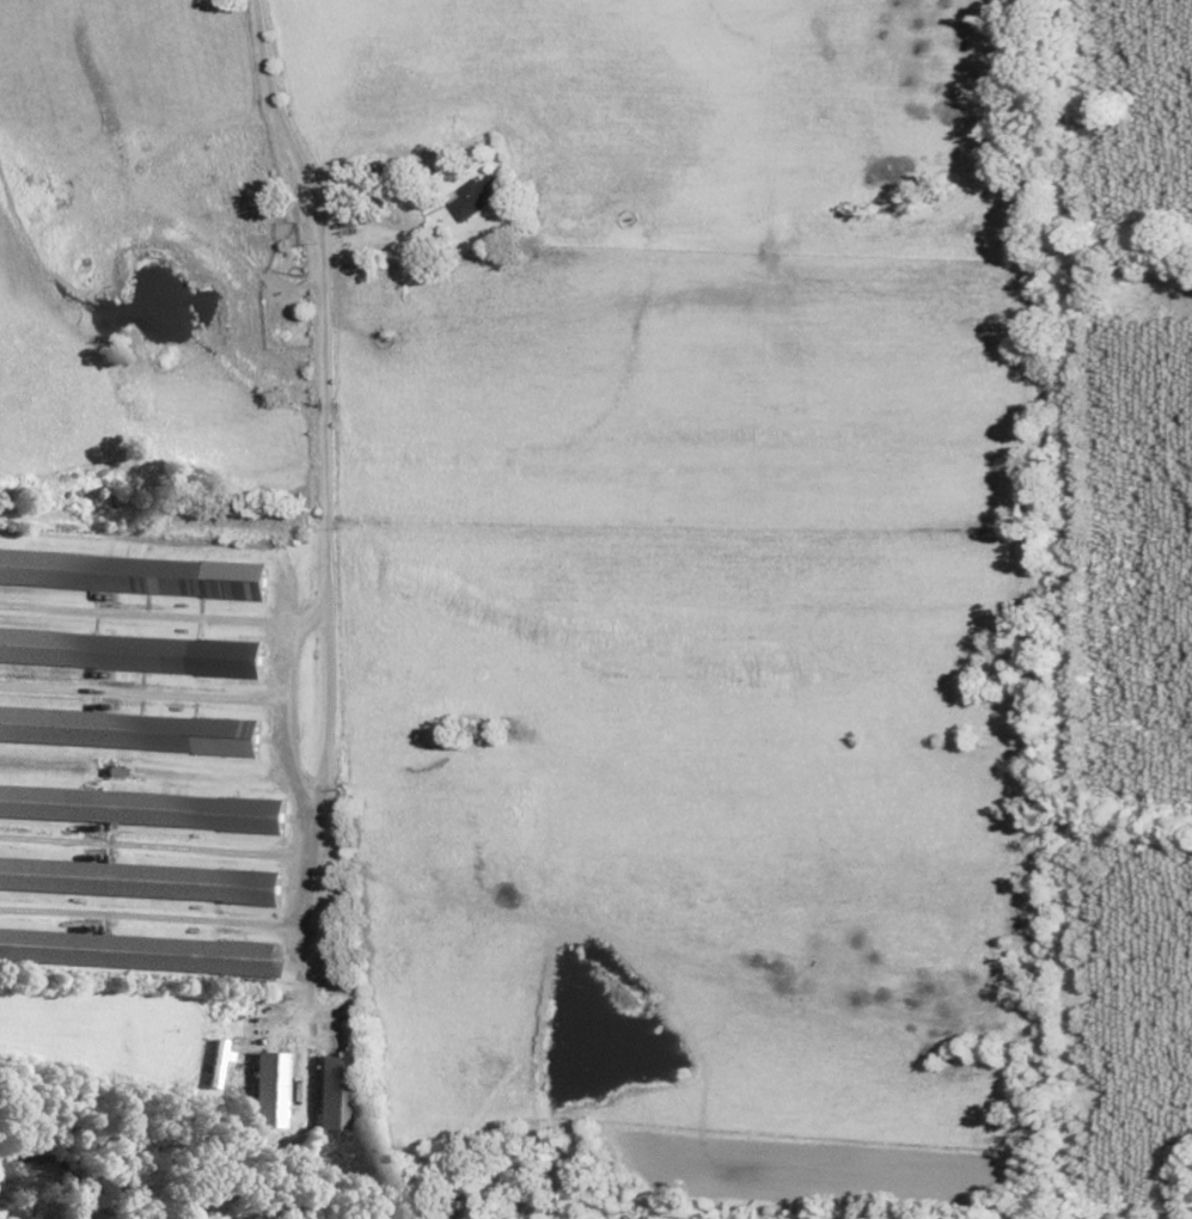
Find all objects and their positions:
building: (477, 195)
building: (136, 574)
building: (134, 653)
building: (132, 730)
building: (146, 809)
building: (142, 881)
building: (140, 952)
building: (212, 1062)
building: (263, 1089)
building: (328, 1091)

